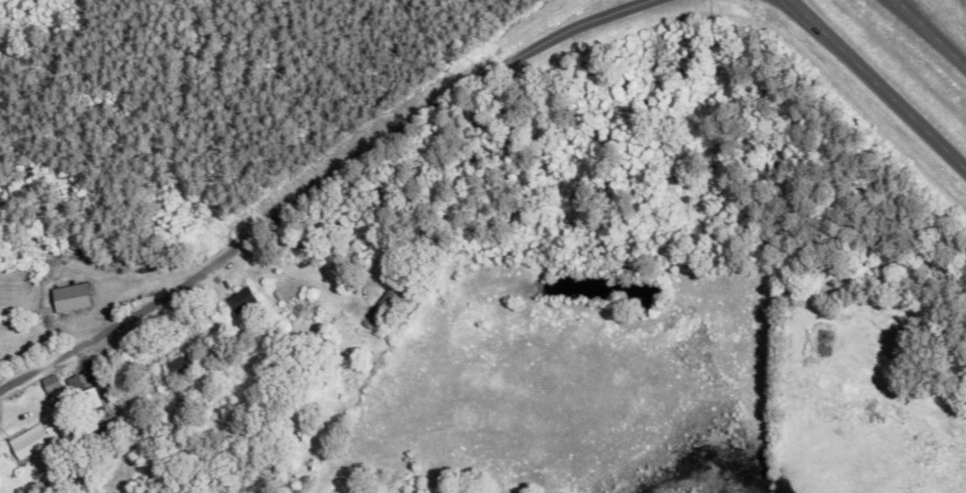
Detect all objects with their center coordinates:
road: (903, 4)
road: (937, 37)
road: (878, 84)
road: (321, 185)
building: (244, 301)
building: (381, 310)
building: (184, 367)
building: (134, 398)
building: (96, 409)
building: (31, 443)

